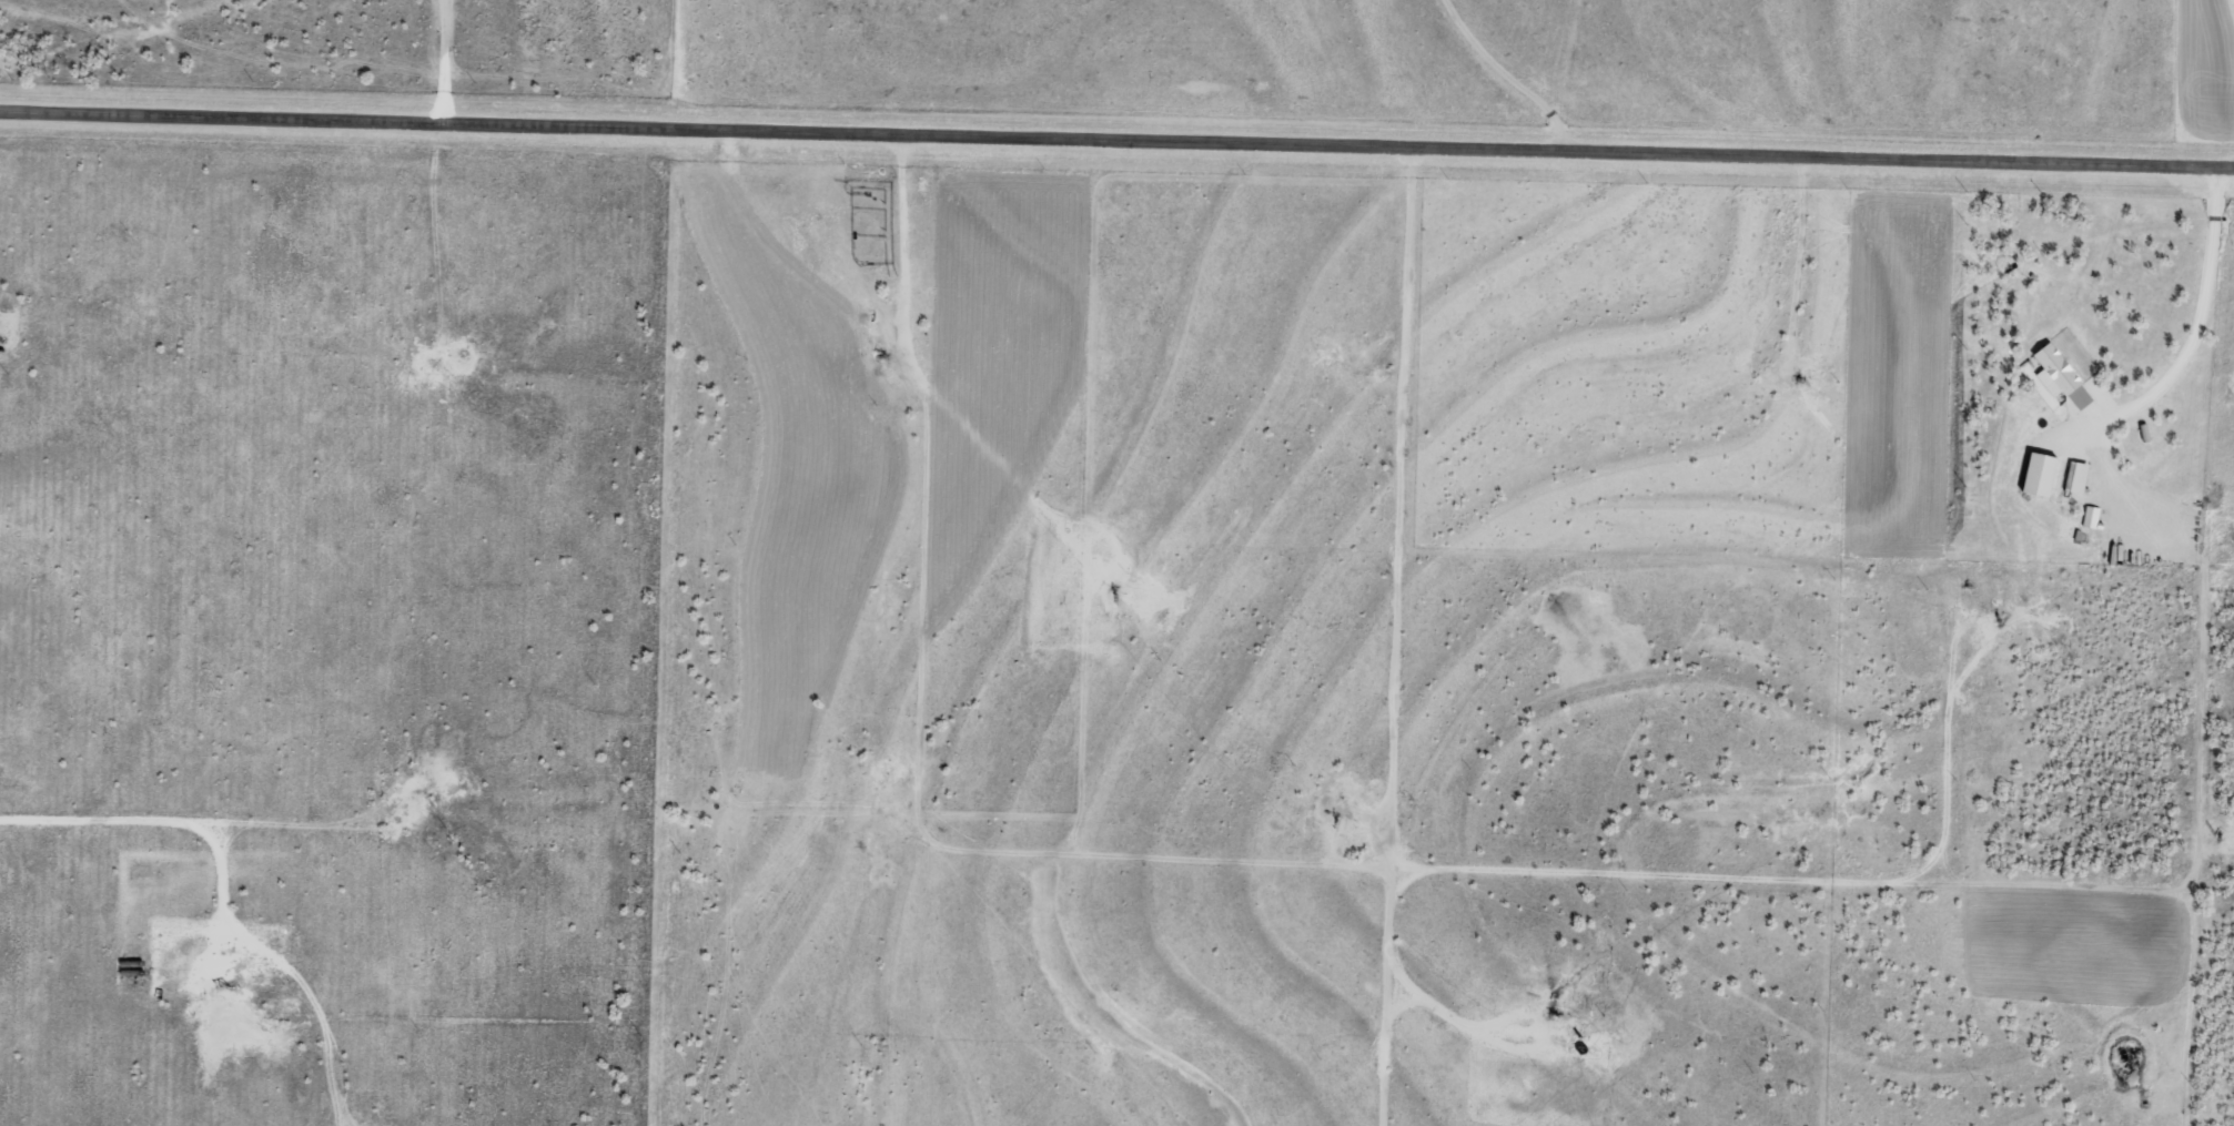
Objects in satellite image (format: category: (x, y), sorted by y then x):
road: (1519, 78)
road: (1116, 138)
building: (2062, 376)
building: (2042, 474)

